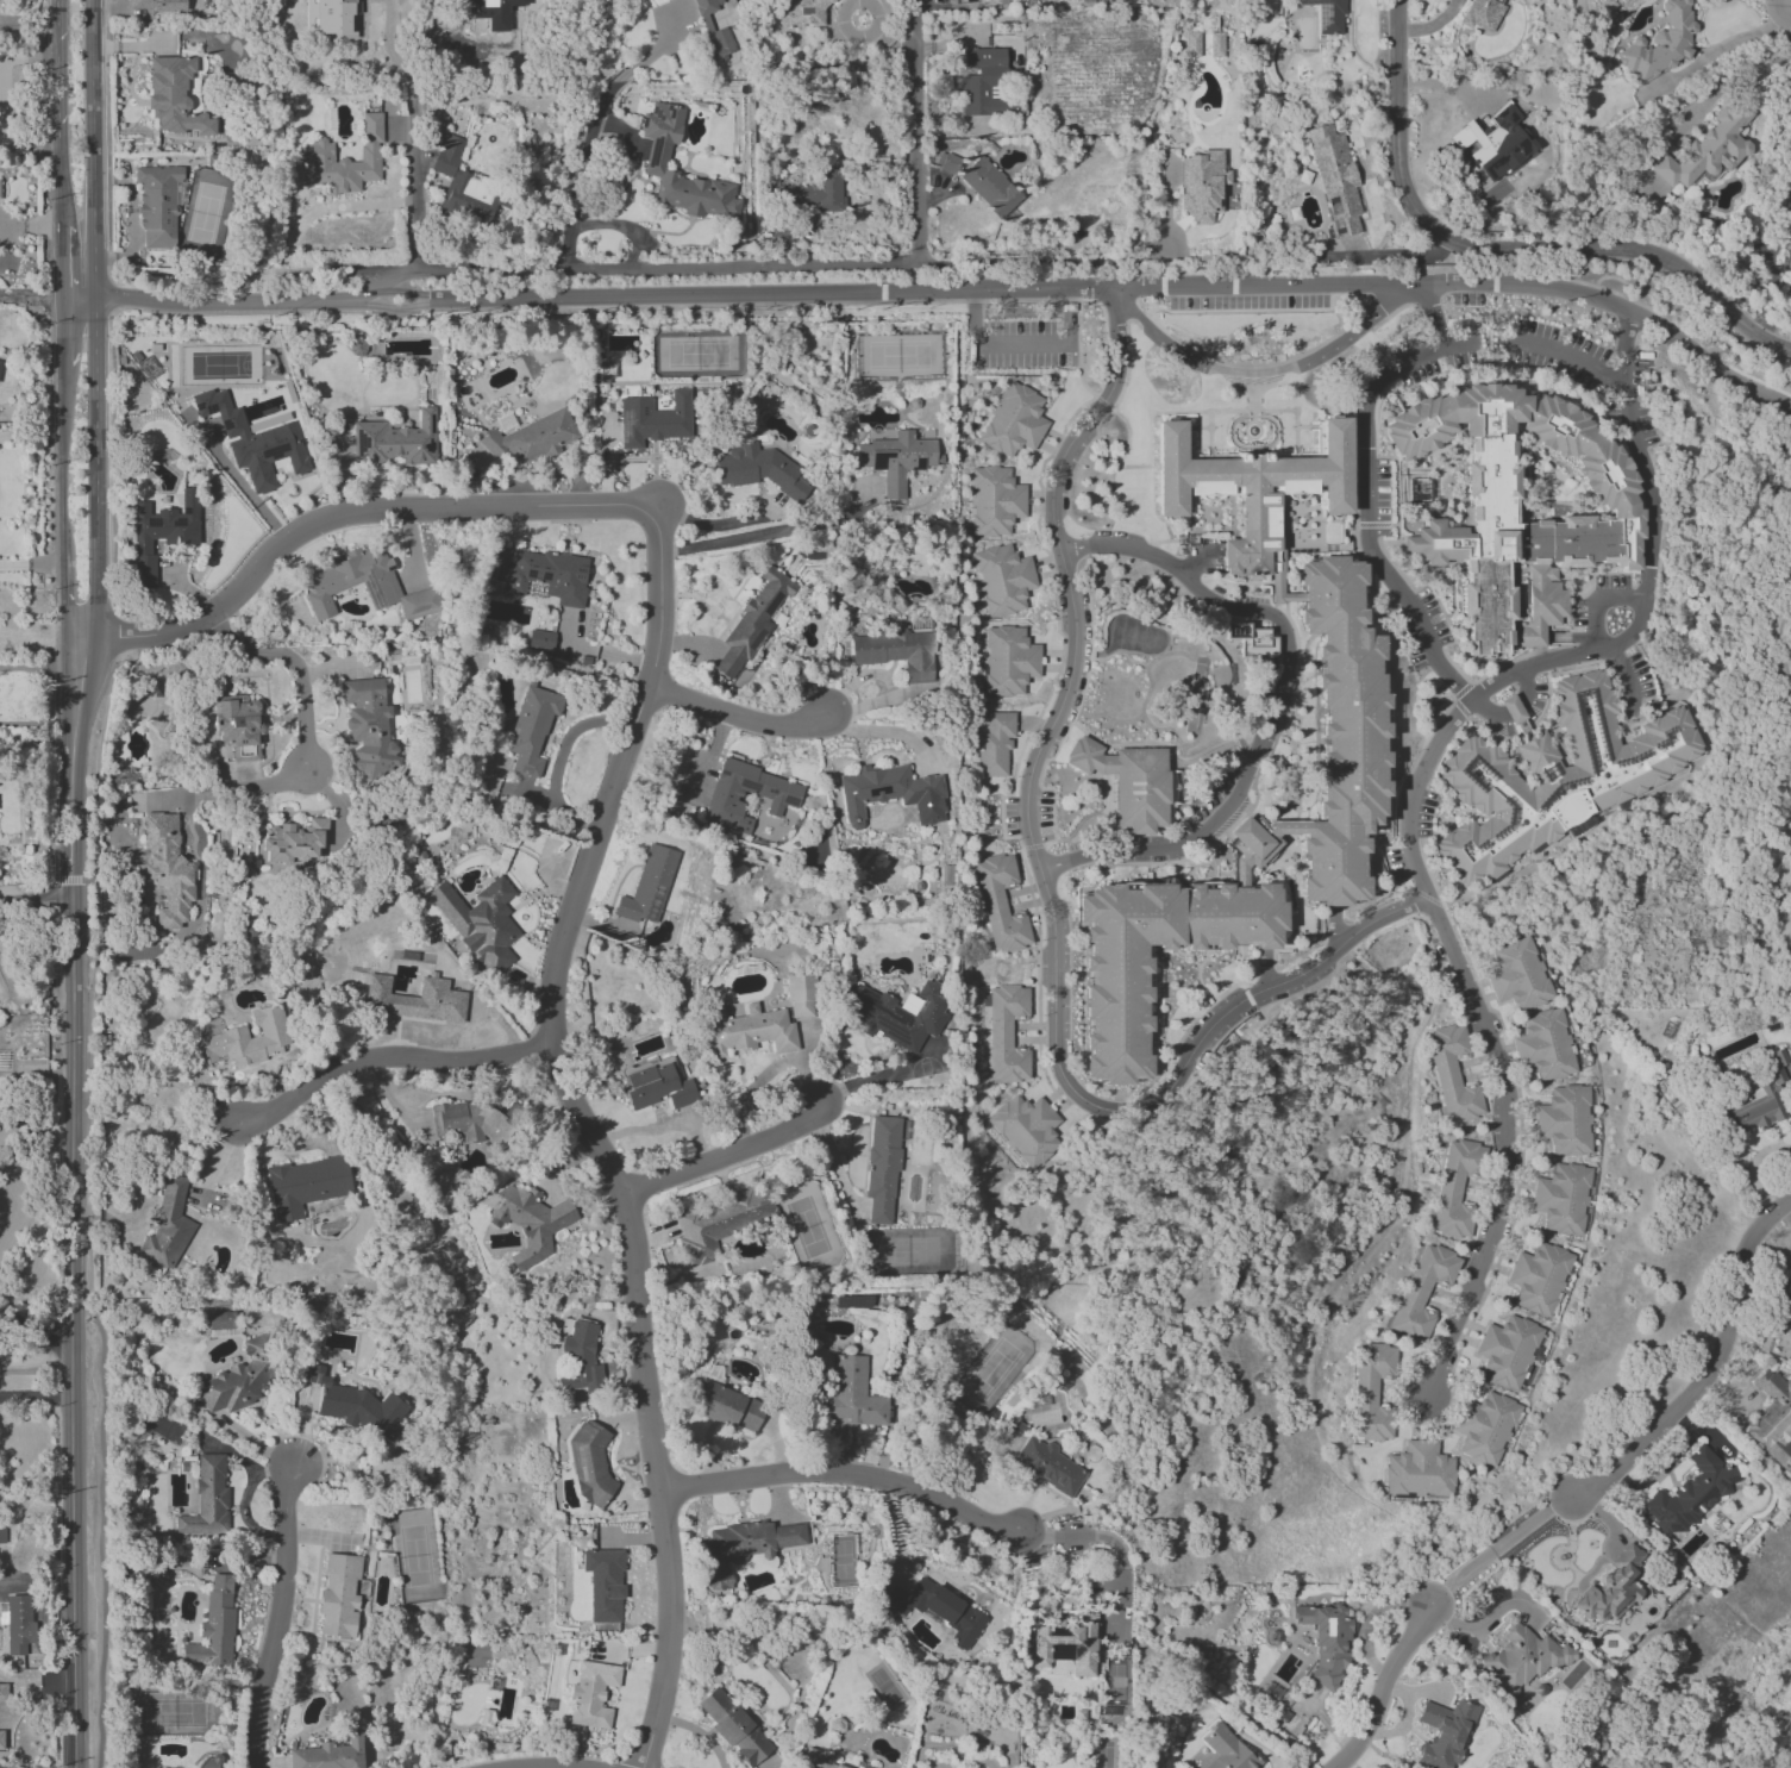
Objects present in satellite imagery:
building: (157, 5)
building: (802, 13)
building: (1482, 14)
road: (58, 15)
building: (1327, 15)
building: (332, 17)
building: (713, 33)
building: (1192, 44)
building: (1216, 44)
building: (1660, 44)
road: (1755, 75)
road: (60, 80)
building: (983, 82)
building: (174, 96)
road: (916, 130)
road: (593, 132)
road: (415, 142)
building: (1495, 143)
building: (1710, 149)
building: (318, 151)
building: (656, 157)
building: (947, 162)
road: (62, 174)
building: (1335, 180)
building: (1202, 185)
building: (465, 186)
building: (990, 186)
building: (814, 192)
building: (157, 205)
road: (417, 219)
road: (620, 225)
road: (1505, 246)
road: (1033, 258)
road: (63, 260)
road: (488, 269)
road: (1084, 287)
road: (32, 296)
road: (1072, 317)
road: (1435, 317)
road: (977, 319)
road: (63, 330)
road: (94, 337)
parking lot: (1023, 348)
road: (1025, 348)
parking lot: (1438, 350)
parking lot: (1553, 351)
road: (1565, 355)
building: (0, 363)
road: (1520, 366)
road: (1257, 377)
road: (1254, 394)
building: (653, 419)
building: (1014, 420)
road: (1214, 432)
road: (30, 436)
building: (531, 438)
building: (252, 441)
building: (396, 441)
road: (60, 457)
building: (896, 460)
road: (1151, 467)
building: (762, 470)
building: (995, 501)
road: (1369, 505)
building: (1522, 506)
road: (401, 507)
building: (162, 532)
road: (756, 533)
road: (30, 566)
building: (544, 575)
building: (1004, 580)
building: (332, 585)
road: (1116, 586)
road: (62, 616)
building: (753, 621)
road: (1598, 636)
road: (138, 637)
building: (1252, 638)
building: (540, 639)
road: (1607, 650)
building: (896, 651)
building: (1008, 661)
road: (295, 664)
road: (1279, 699)
road: (1522, 711)
road: (740, 717)
building: (238, 727)
building: (369, 729)
building: (531, 729)
road: (885, 732)
building: (995, 744)
road: (1159, 744)
building: (1357, 751)
road: (559, 760)
building: (1557, 777)
building: (1128, 782)
building: (890, 793)
building: (777, 795)
building: (295, 843)
building: (167, 869)
building: (649, 887)
road: (1051, 895)
road: (35, 900)
building: (1001, 905)
building: (480, 923)
building: (1517, 975)
building: (800, 995)
building: (414, 999)
building: (897, 1013)
building: (747, 1030)
building: (1007, 1035)
building: (240, 1041)
building: (1545, 1045)
road: (390, 1060)
road: (766, 1073)
building: (1453, 1075)
building: (658, 1085)
building: (1758, 1101)
road: (36, 1117)
building: (1565, 1120)
building: (476, 1122)
road: (585, 1125)
road: (662, 1127)
building: (1027, 1129)
road: (1507, 1147)
road: (726, 1155)
road: (833, 1162)
building: (882, 1168)
building: (306, 1185)
building: (1455, 1189)
building: (1563, 1199)
road: (71, 1220)
building: (528, 1222)
building: (719, 1223)
building: (168, 1225)
building: (1540, 1279)
building: (1787, 1287)
building: (1423, 1289)
road: (36, 1331)
building: (1508, 1351)
building: (580, 1358)
road: (36, 1369)
road: (1712, 1372)
building: (237, 1380)
building: (1372, 1391)
building: (852, 1394)
road: (37, 1397)
building: (347, 1406)
building: (728, 1406)
building: (1773, 1419)
building: (1486, 1427)
building: (589, 1463)
building: (1048, 1466)
building: (1420, 1472)
road: (847, 1474)
building: (1691, 1494)
building: (207, 1499)
building: (2, 1532)
road: (1113, 1541)
building: (745, 1547)
road: (1501, 1549)
building: (603, 1585)
building: (1612, 1586)
building: (339, 1595)
building: (939, 1610)
road: (282, 1617)
building: (18, 1624)
building: (213, 1628)
building: (1326, 1642)
building: (1067, 1648)
building: (1522, 1657)
building: (18, 1683)
road: (1384, 1689)
building: (591, 1694)
park: (1741, 1714)
building: (733, 1726)
road: (699, 1732)
building: (1444, 1733)
building: (1, 1739)
building: (1227, 1749)
building: (330, 1755)
building: (816, 1758)
building: (209, 1762)

